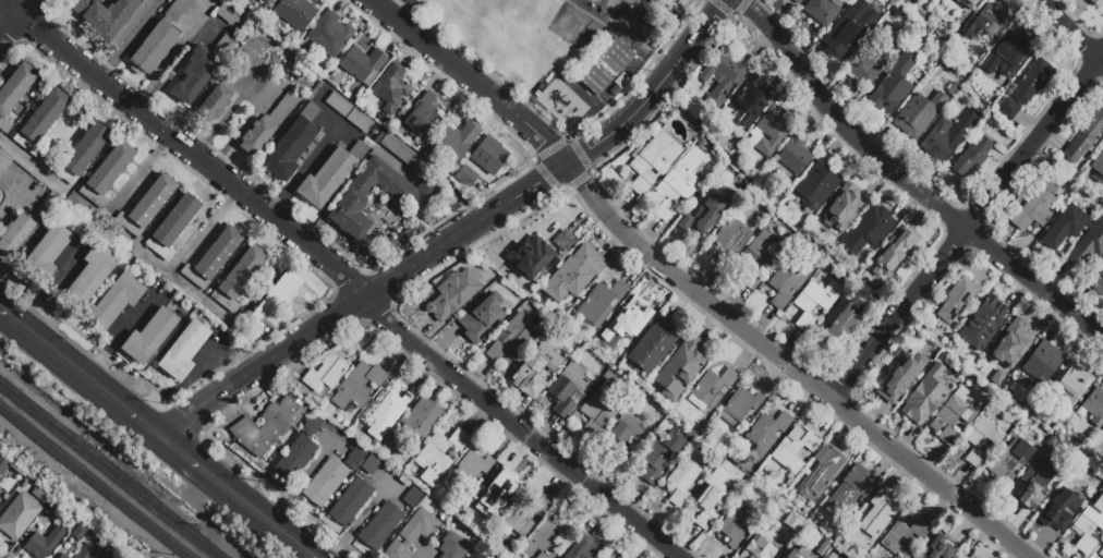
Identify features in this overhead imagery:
building: (267, 2)
building: (799, 2)
building: (1099, 2)
park: (584, 4)
building: (970, 4)
building: (177, 10)
building: (822, 12)
building: (295, 13)
building: (111, 17)
building: (231, 19)
road: (15, 20)
building: (987, 22)
building: (852, 27)
road: (1069, 32)
building: (328, 34)
park: (528, 34)
building: (156, 47)
building: (1008, 54)
building: (363, 65)
building: (605, 66)
building: (202, 69)
building: (865, 69)
building: (725, 76)
road: (472, 78)
building: (894, 86)
building: (1025, 87)
building: (391, 88)
building: (14, 92)
building: (748, 102)
building: (215, 104)
building: (339, 104)
building: (918, 114)
building: (422, 117)
building: (360, 121)
building: (41, 122)
building: (268, 123)
road: (338, 126)
building: (769, 132)
building: (949, 136)
building: (1084, 137)
building: (456, 141)
building: (293, 144)
building: (81, 154)
building: (402, 154)
building: (793, 157)
building: (652, 159)
building: (482, 160)
building: (970, 161)
building: (4, 162)
road: (32, 163)
building: (1098, 163)
road: (302, 171)
building: (108, 172)
building: (330, 175)
road: (907, 183)
building: (676, 185)
building: (817, 185)
building: (413, 196)
building: (850, 199)
road: (13, 201)
building: (147, 206)
building: (49, 207)
building: (1034, 209)
building: (703, 211)
building: (874, 222)
building: (173, 226)
road: (968, 227)
building: (1065, 227)
road: (202, 230)
building: (15, 234)
road: (124, 236)
road: (458, 238)
building: (730, 239)
building: (1088, 247)
building: (895, 248)
building: (46, 254)
building: (760, 255)
building: (537, 256)
building: (213, 259)
building: (93, 271)
building: (573, 275)
building: (239, 278)
road: (343, 278)
building: (1096, 279)
building: (788, 282)
building: (454, 292)
building: (279, 294)
building: (957, 299)
building: (116, 301)
building: (601, 303)
building: (814, 303)
building: (481, 318)
building: (630, 318)
building: (834, 323)
building: (849, 324)
building: (983, 324)
road: (82, 336)
building: (149, 336)
road: (117, 340)
building: (511, 340)
building: (1016, 341)
building: (654, 344)
building: (184, 350)
building: (1043, 360)
road: (792, 366)
building: (679, 369)
building: (535, 371)
road: (77, 373)
building: (326, 373)
building: (902, 377)
building: (1072, 379)
building: (357, 387)
building: (568, 388)
building: (711, 391)
building: (925, 396)
building: (740, 405)
building: (1094, 407)
building: (385, 409)
building: (599, 409)
building: (953, 415)
building: (423, 418)
road: (184, 420)
building: (312, 425)
building: (271, 427)
building: (242, 428)
building: (1102, 429)
building: (767, 432)
building: (630, 436)
building: (981, 439)
building: (795, 449)
building: (659, 456)
building: (355, 457)
building: (436, 457)
building: (295, 458)
building: (1009, 460)
building: (371, 464)
building: (473, 465)
building: (3, 466)
railway: (109, 471)
building: (823, 472)
building: (684, 476)
road: (300, 477)
railway: (95, 482)
building: (325, 483)
building: (1031, 486)
building: (851, 487)
building: (41, 495)
building: (497, 496)
road: (233, 497)
road: (282, 497)
building: (412, 497)
building: (712, 498)
building: (0, 500)
building: (351, 502)
building: (52, 510)
building: (1060, 510)
building: (878, 513)
building: (525, 514)
building: (19, 517)
road: (363, 518)
building: (795, 522)
building: (380, 525)
building: (1089, 525)
building: (736, 529)
building: (80, 534)
building: (412, 534)
building: (547, 537)
building: (902, 537)
building: (38, 546)
building: (453, 546)
building: (756, 548)
building: (937, 548)
building: (579, 549)
building: (109, 551)
building: (86, 553)
building: (1101, 553)
building: (791, 555)
building: (475, 556)
building: (63, 557)
building: (619, 557)
building: (620, 557)
building: (961, 557)

